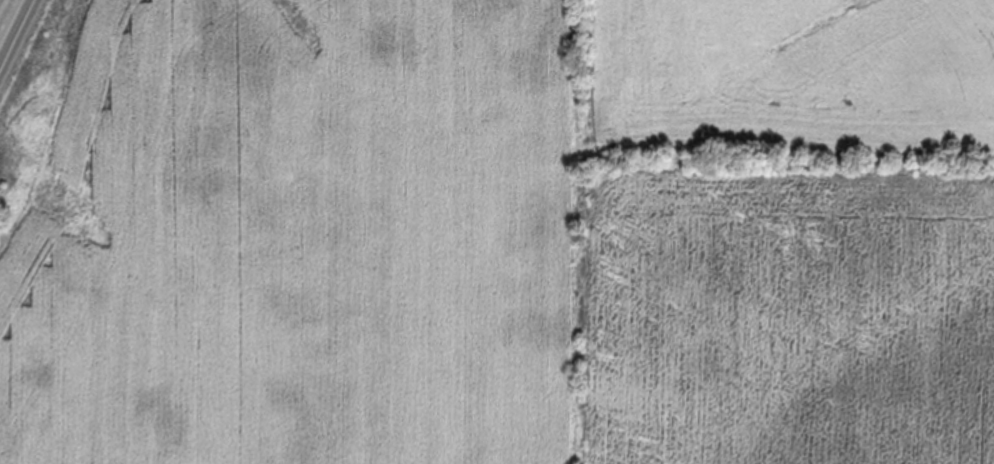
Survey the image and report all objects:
road: (15, 31)

